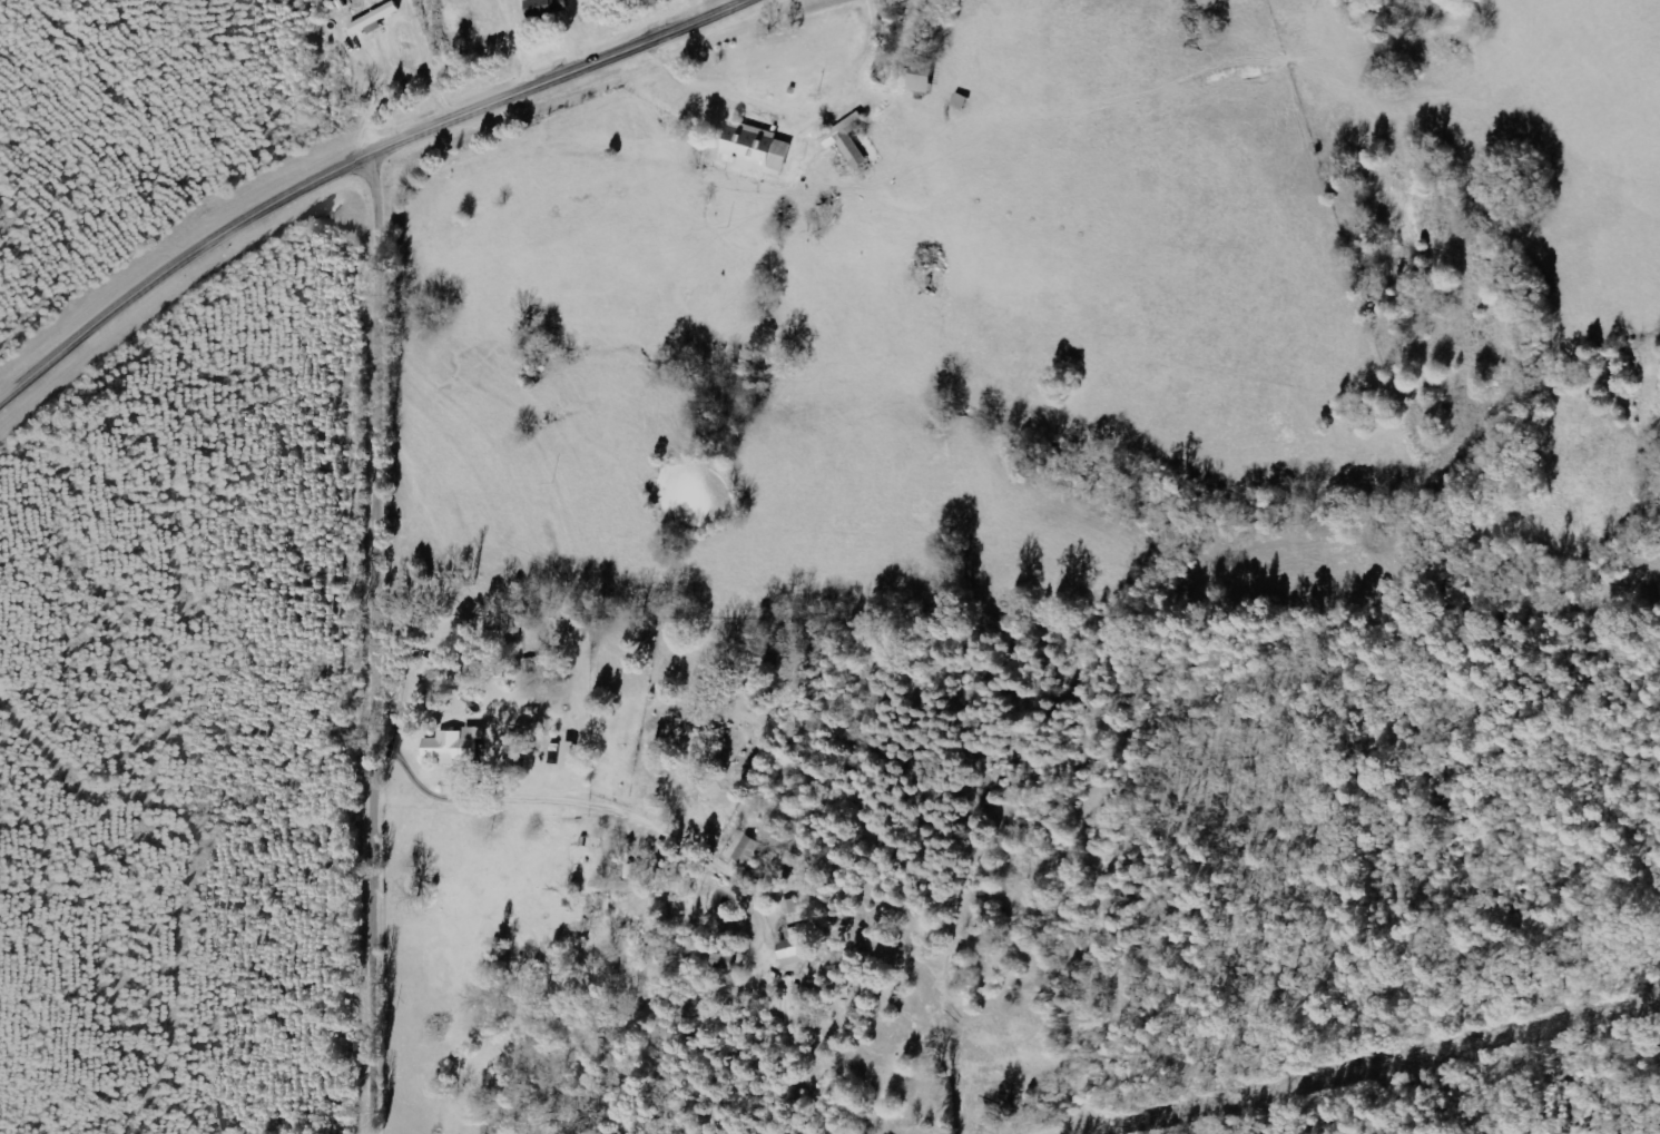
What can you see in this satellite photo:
building: (550, 9)
building: (376, 20)
road: (480, 52)
building: (924, 77)
building: (758, 149)
road: (355, 164)
road: (383, 643)
road: (542, 678)
building: (453, 746)
building: (572, 753)
road: (317, 756)
building: (749, 850)
building: (798, 947)
building: (727, 962)

